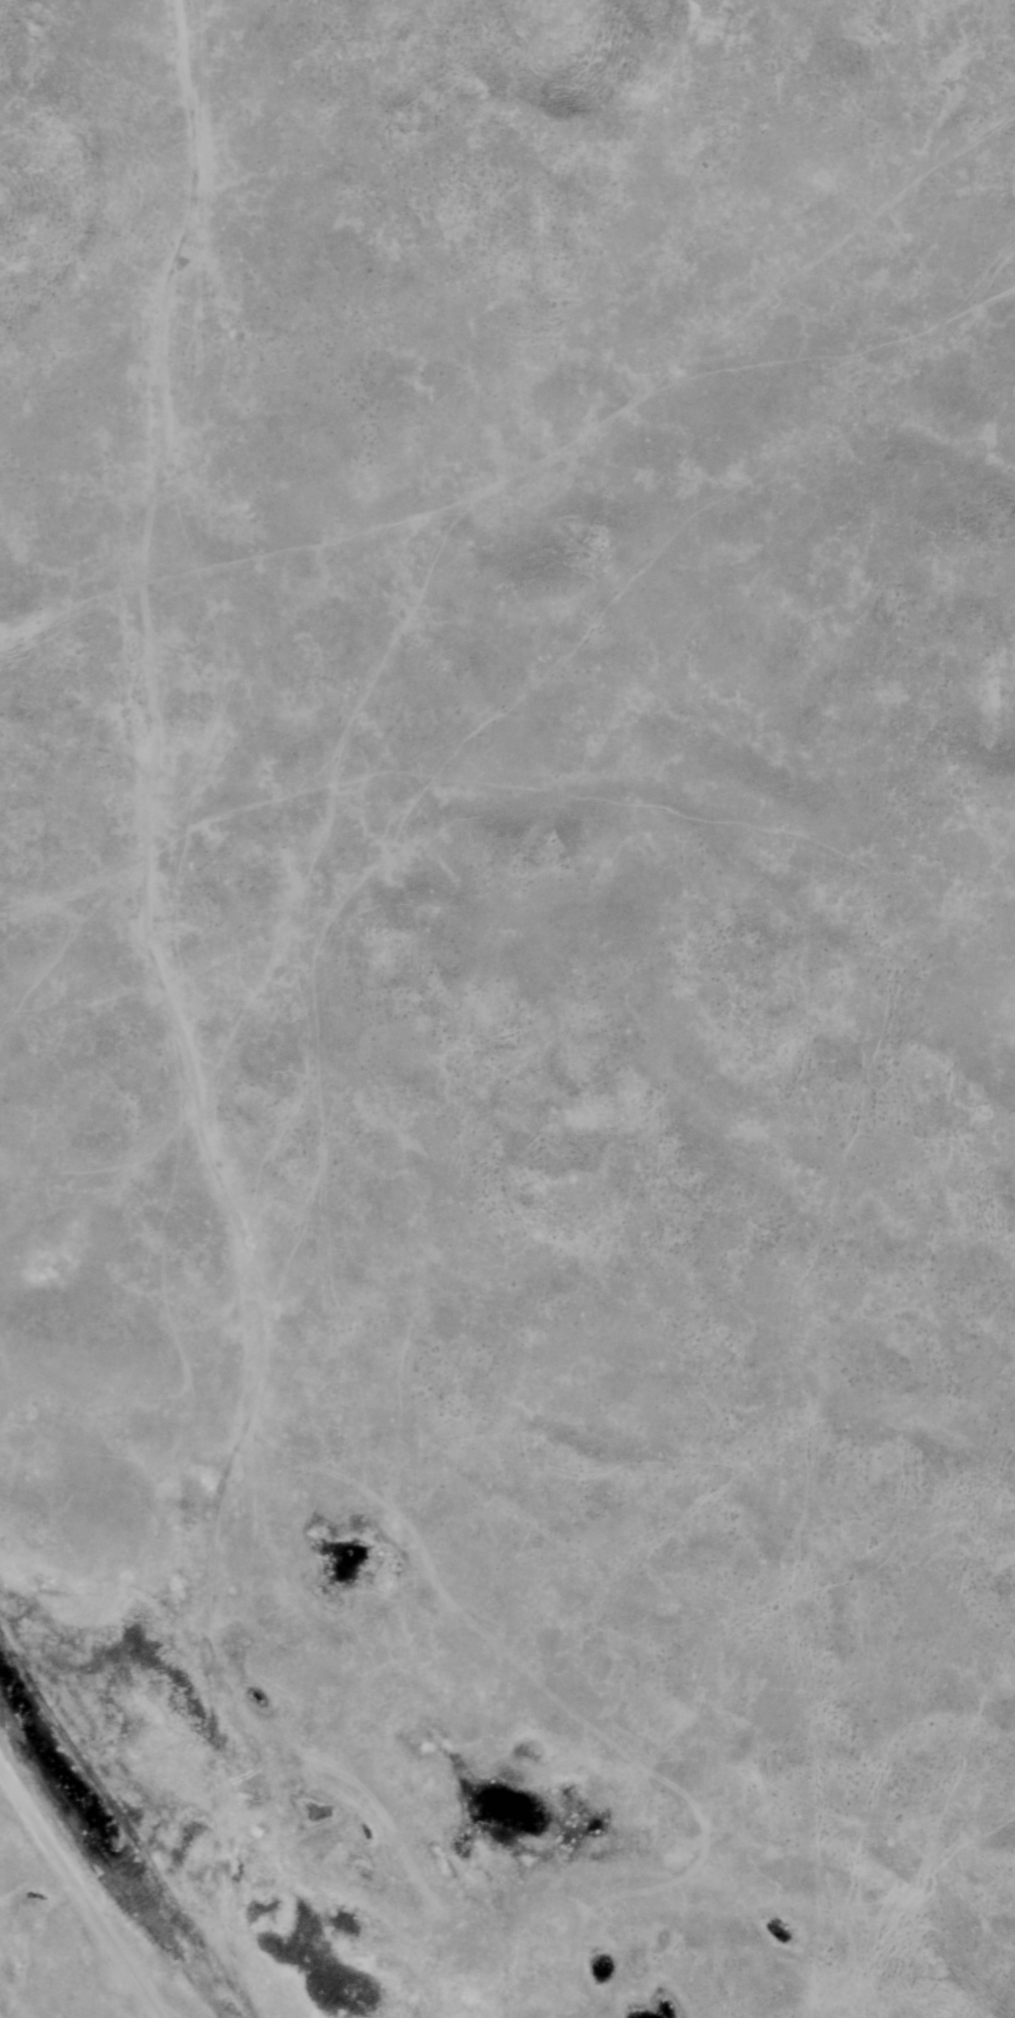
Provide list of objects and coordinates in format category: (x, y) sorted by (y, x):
road: (79, 1891)

